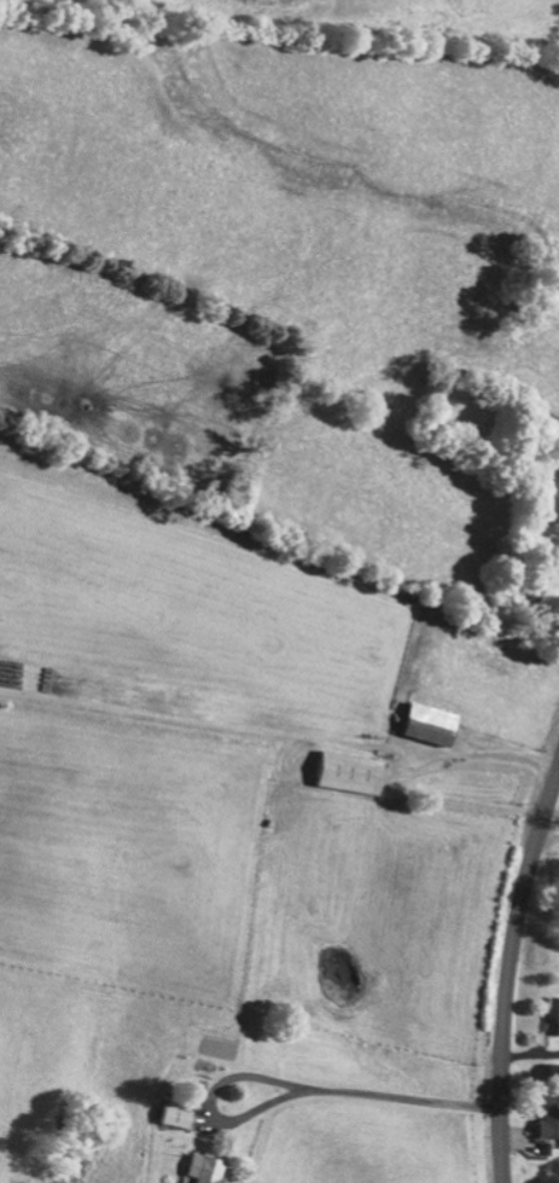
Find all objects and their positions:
building: (436, 723)
building: (355, 772)
road: (511, 974)
building: (181, 1115)
building: (551, 1124)
building: (208, 1167)

